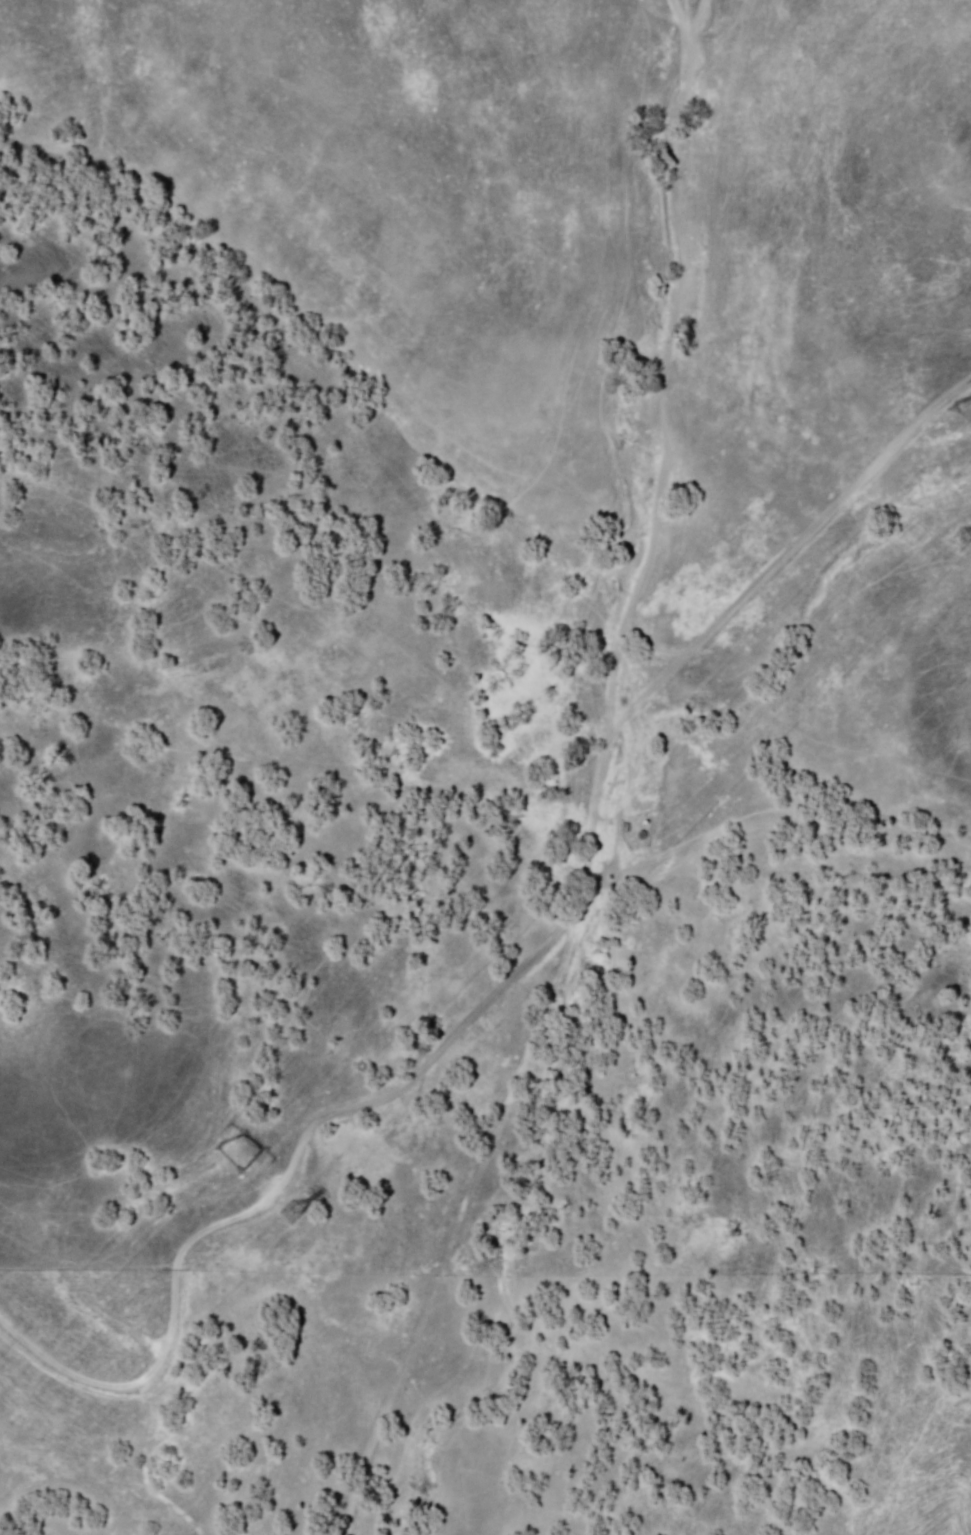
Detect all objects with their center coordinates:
power tower: (959, 420)
power tower: (955, 540)
road: (635, 724)
road: (532, 1074)
power tower: (223, 1163)
power tower: (290, 1214)
road: (116, 1382)
road: (388, 1404)

